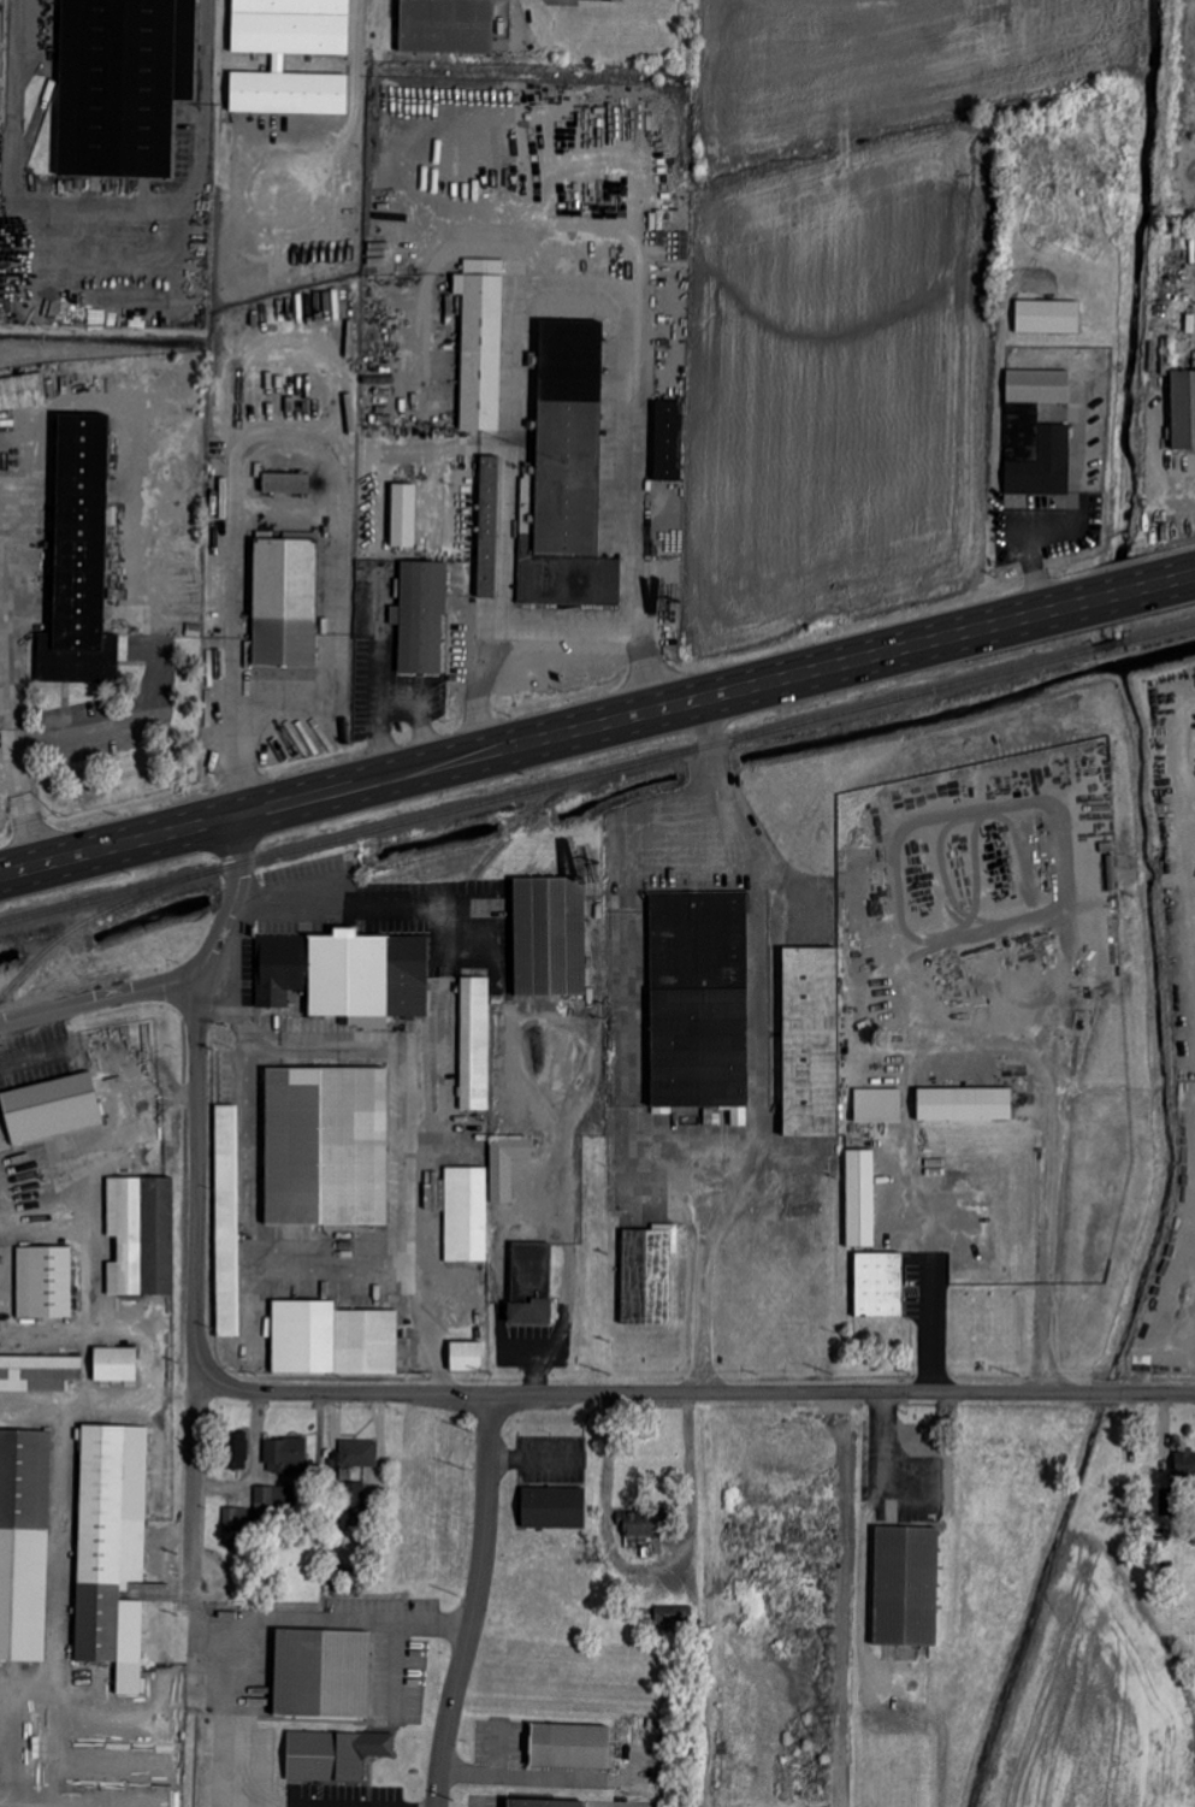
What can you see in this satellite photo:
building: (452, 34)
road: (211, 52)
building: (296, 60)
building: (130, 89)
road: (54, 207)
road: (549, 288)
building: (1047, 317)
building: (481, 343)
road: (288, 348)
building: (23, 391)
building: (1183, 411)
building: (1036, 433)
building: (668, 441)
building: (286, 483)
building: (403, 515)
building: (487, 526)
building: (79, 560)
building: (284, 603)
building: (421, 616)
road: (564, 638)
road: (381, 677)
road: (724, 693)
road: (309, 696)
road: (402, 698)
road: (11, 722)
road: (233, 726)
road: (428, 731)
road: (7, 755)
railway: (845, 764)
railway: (597, 775)
road: (657, 838)
road: (126, 844)
railway: (459, 900)
road: (341, 905)
road: (231, 907)
railway: (97, 916)
building: (550, 935)
building: (995, 943)
building: (344, 974)
building: (699, 999)
road: (97, 1000)
road: (625, 1003)
building: (812, 1040)
building: (474, 1043)
road: (761, 1046)
road: (390, 1057)
road: (1034, 1062)
road: (245, 1071)
building: (877, 1104)
building: (966, 1104)
building: (48, 1112)
building: (739, 1117)
building: (715, 1118)
road: (111, 1142)
building: (326, 1146)
road: (245, 1151)
building: (226, 1159)
building: (507, 1165)
road: (653, 1168)
building: (860, 1198)
building: (461, 1211)
road: (568, 1215)
building: (142, 1234)
building: (646, 1276)
building: (227, 1280)
road: (296, 1280)
building: (43, 1282)
building: (531, 1285)
building: (878, 1285)
road: (195, 1300)
road: (927, 1321)
road: (427, 1337)
building: (333, 1339)
building: (467, 1356)
building: (116, 1363)
building: (39, 1372)
road: (693, 1394)
building: (237, 1449)
building: (359, 1453)
building: (1184, 1464)
road: (533, 1468)
building: (373, 1480)
building: (1167, 1502)
building: (353, 1504)
building: (552, 1507)
building: (638, 1524)
building: (24, 1542)
building: (112, 1549)
road: (860, 1558)
road: (644, 1576)
building: (906, 1585)
road: (842, 1599)
road: (475, 1601)
building: (674, 1614)
road: (325, 1617)
building: (321, 1673)
building: (569, 1746)
building: (333, 1754)
building: (544, 1803)
road: (324, 1805)

